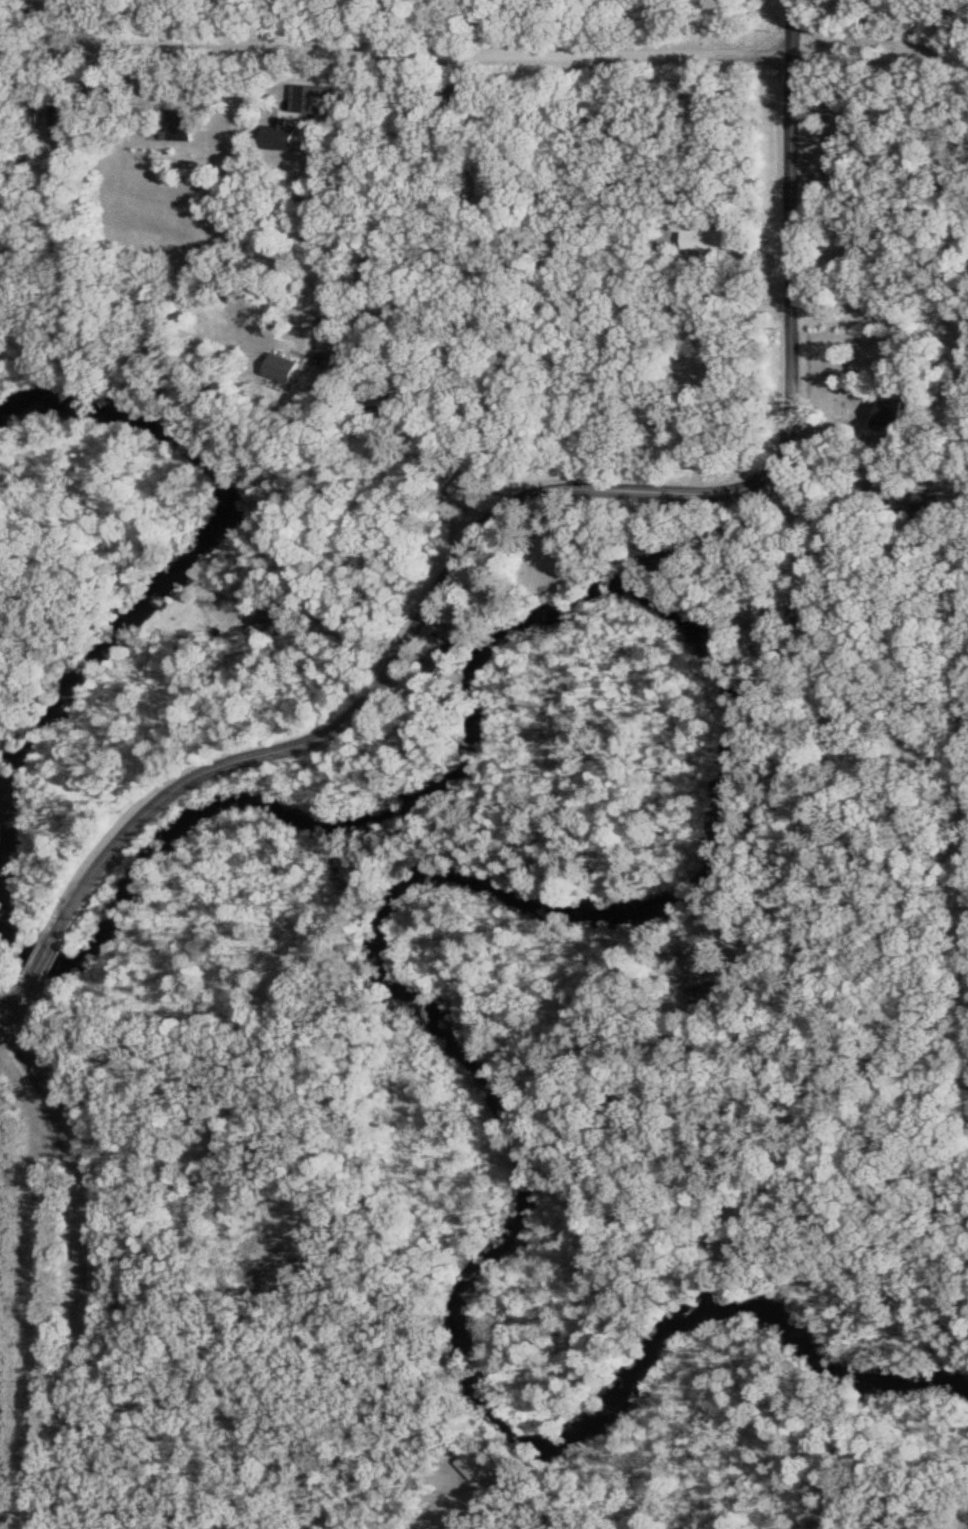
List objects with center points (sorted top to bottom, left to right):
road: (403, 48)
road: (880, 52)
building: (183, 124)
building: (285, 133)
building: (709, 236)
building: (865, 264)
road: (564, 306)
road: (939, 313)
building: (333, 337)
building: (169, 341)
building: (289, 363)
building: (664, 418)
road: (565, 489)
building: (765, 635)
river: (702, 639)
road: (48, 949)
road: (17, 1004)
road: (3, 1020)
road: (82, 1267)

